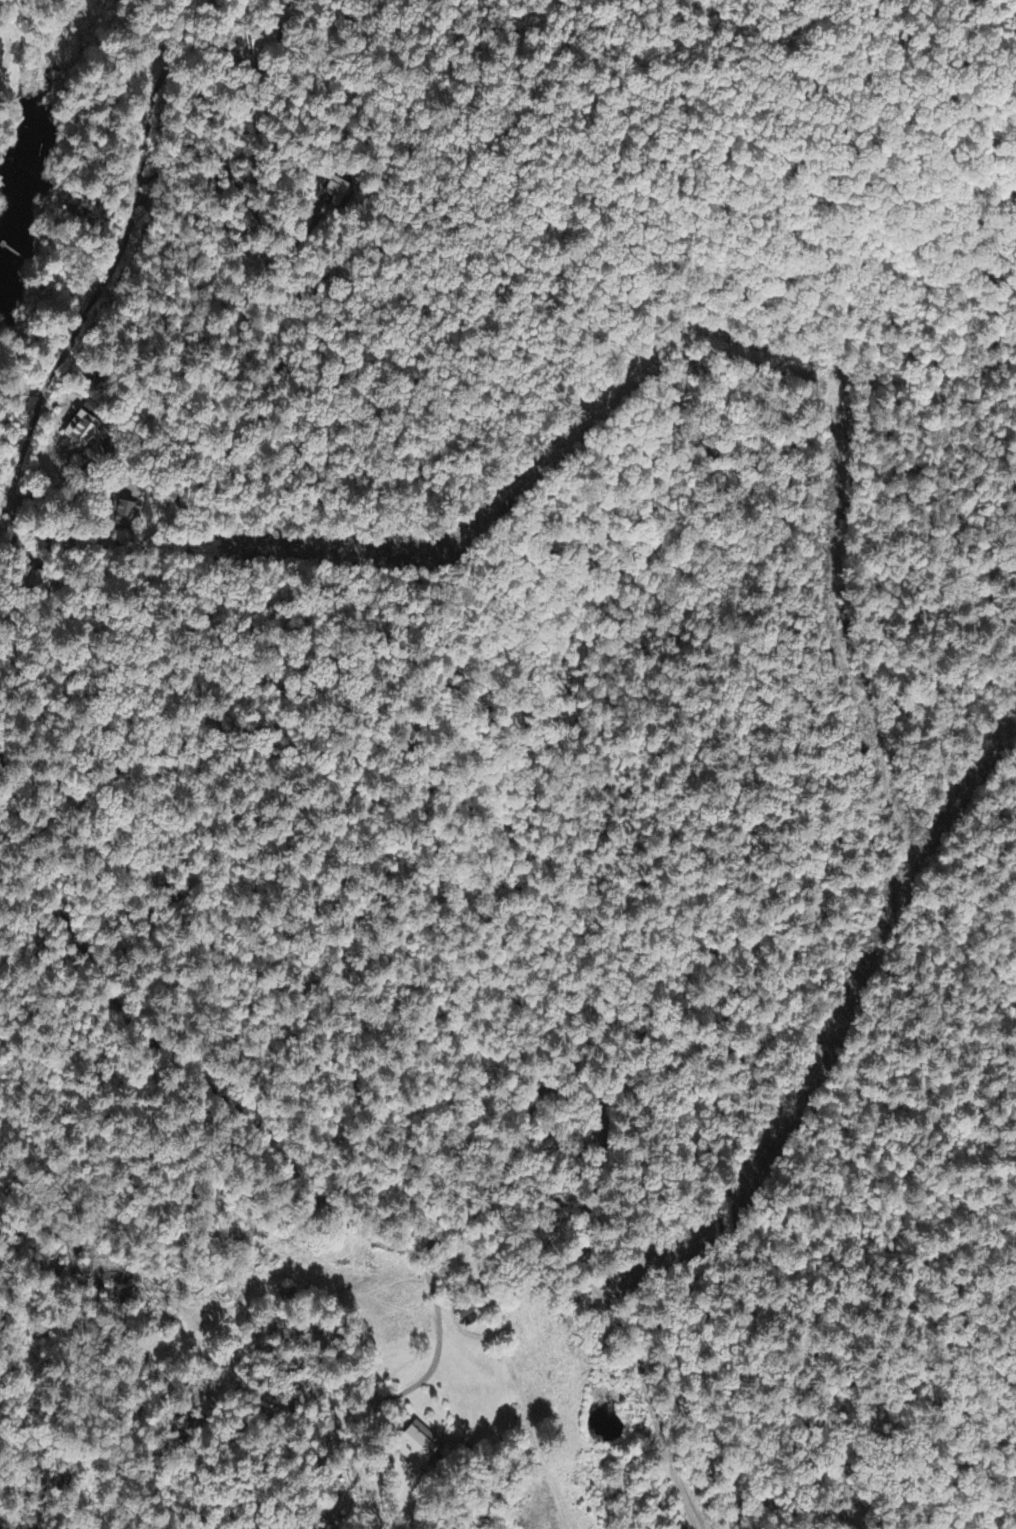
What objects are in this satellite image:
building: (1, 53)
road: (112, 270)
building: (84, 431)
building: (127, 516)
road: (159, 1041)
road: (586, 1202)
road: (435, 1352)
building: (421, 1447)
road: (983, 1486)

